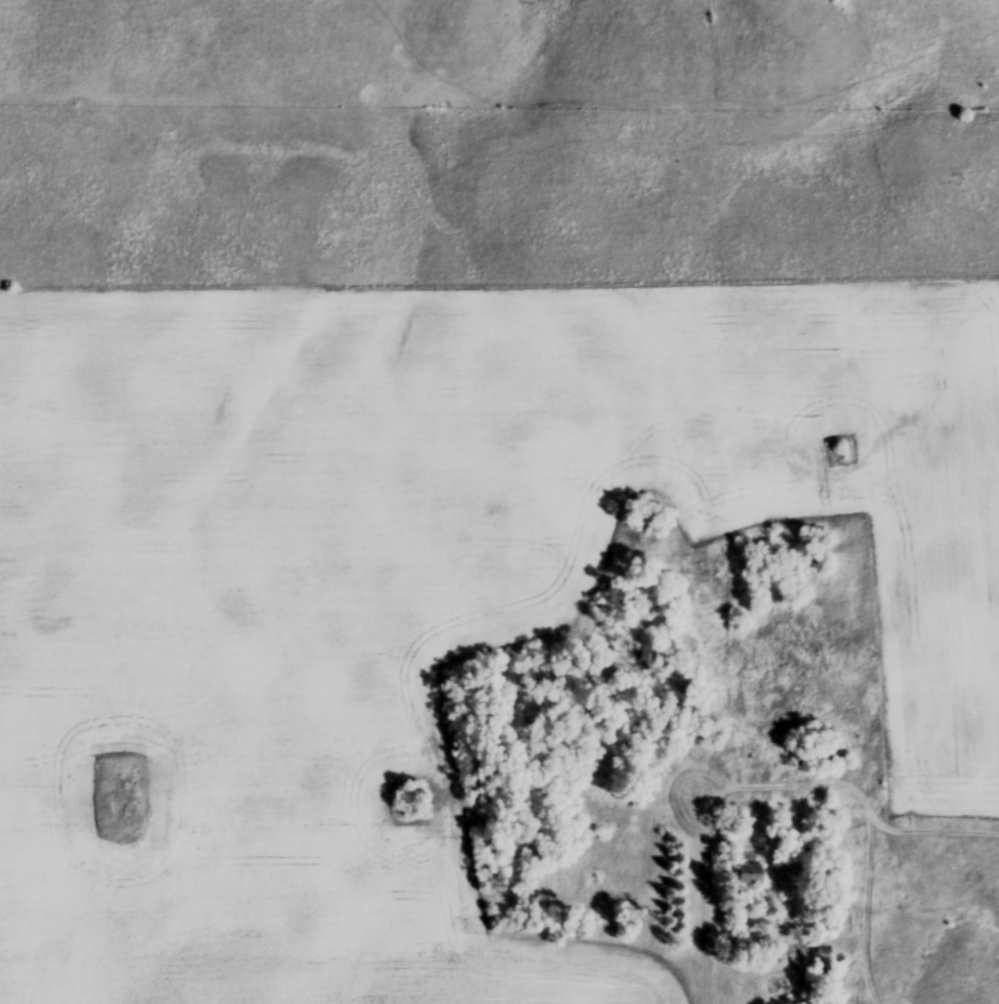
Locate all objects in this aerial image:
building: (813, 763)
building: (751, 875)

